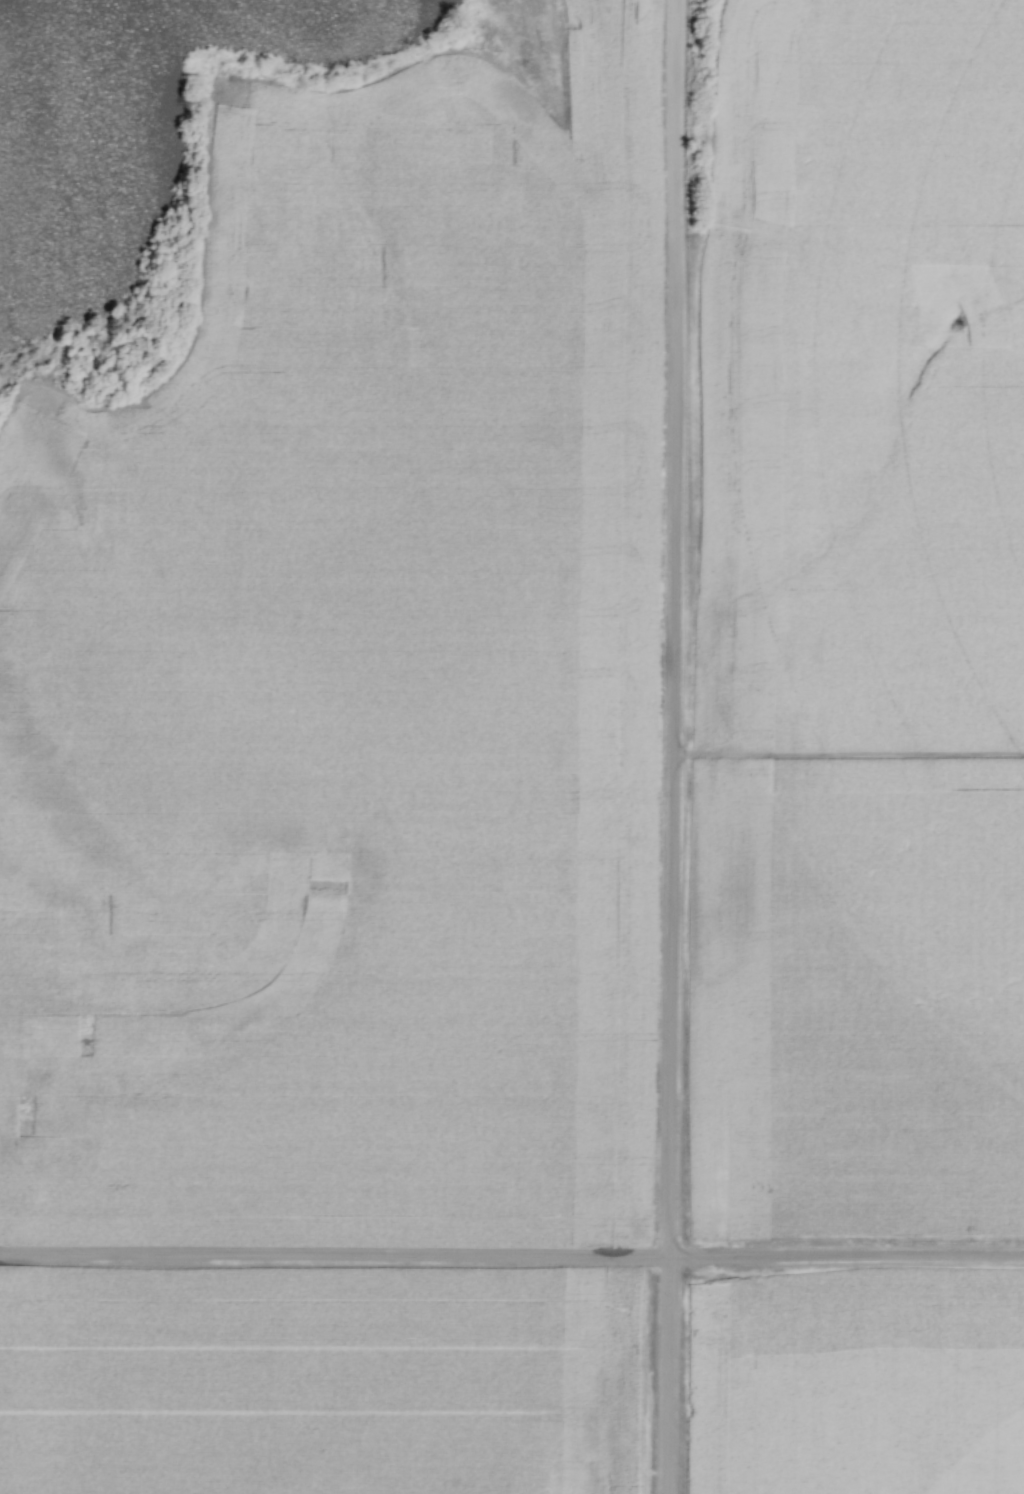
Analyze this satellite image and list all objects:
dam: (540, 68)
road: (676, 746)
road: (512, 1260)

